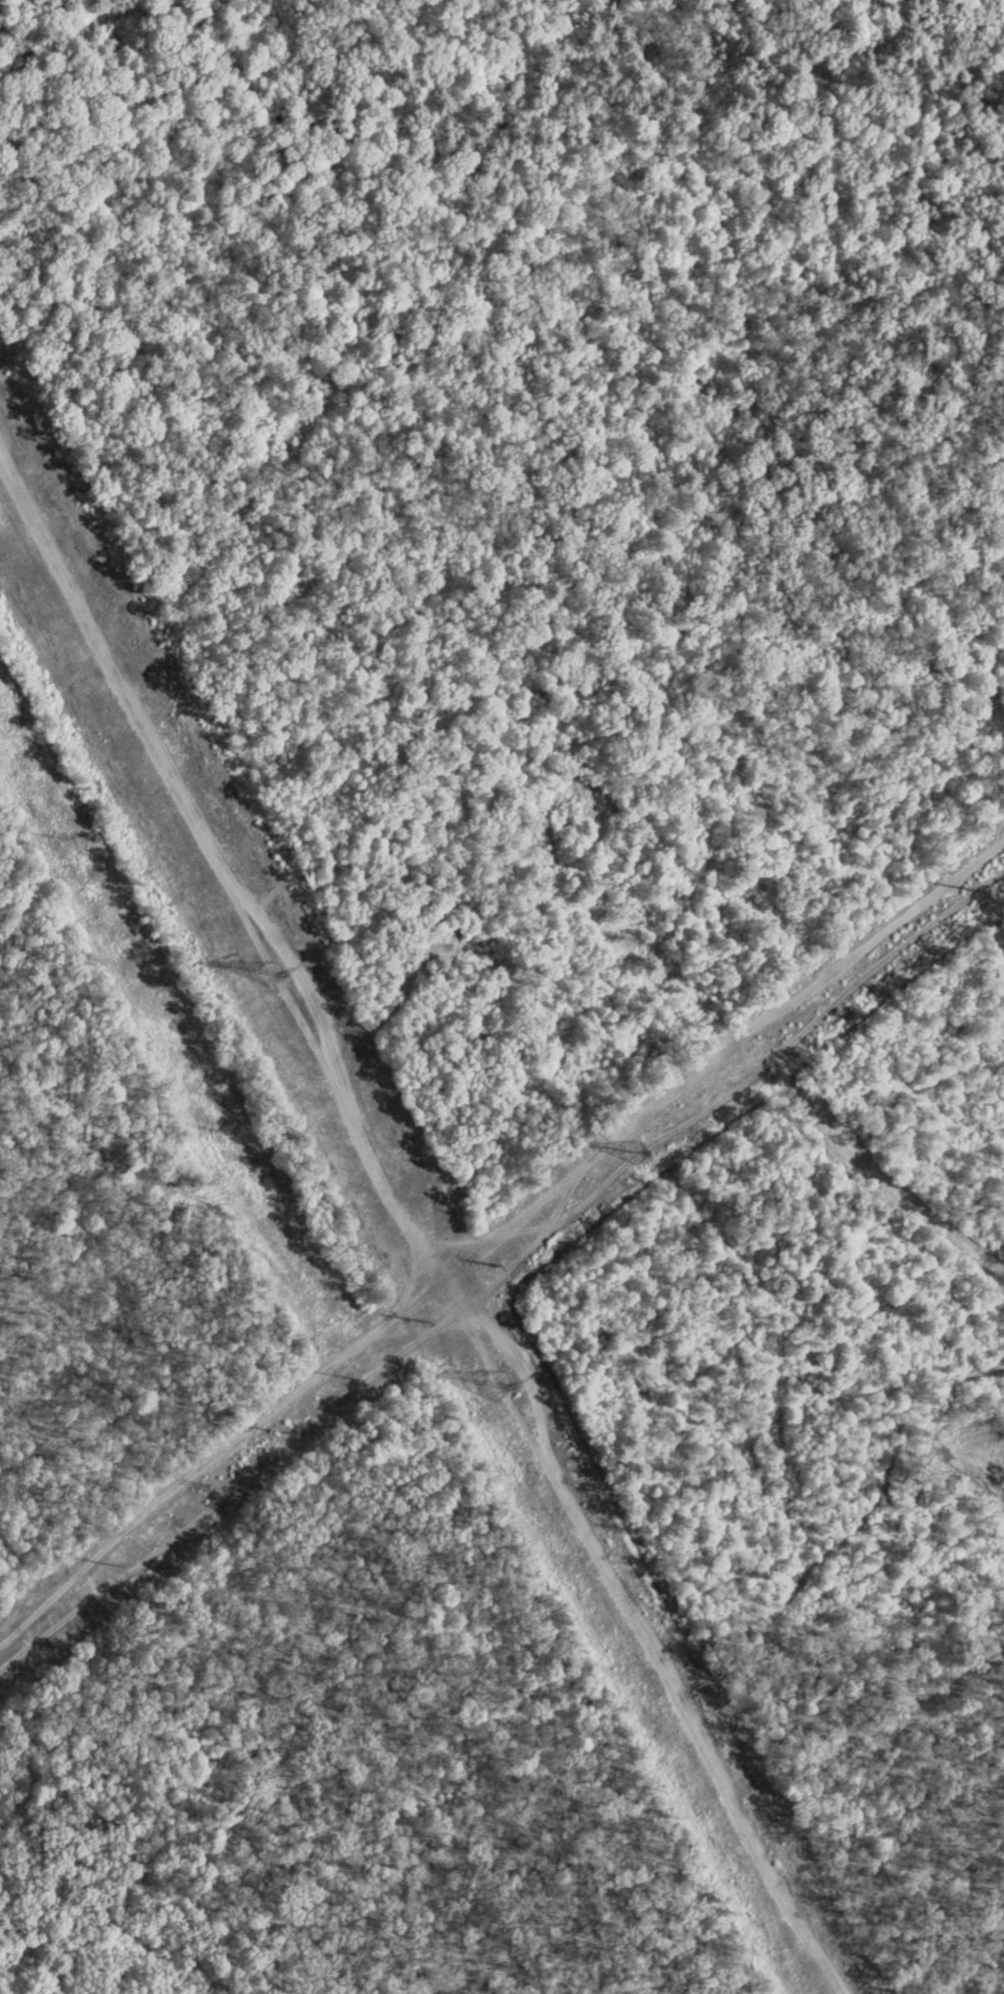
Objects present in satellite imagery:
power tower: (268, 968)
power tower: (639, 1146)
road: (502, 1240)
power tower: (497, 1257)
power tower: (497, 1377)

